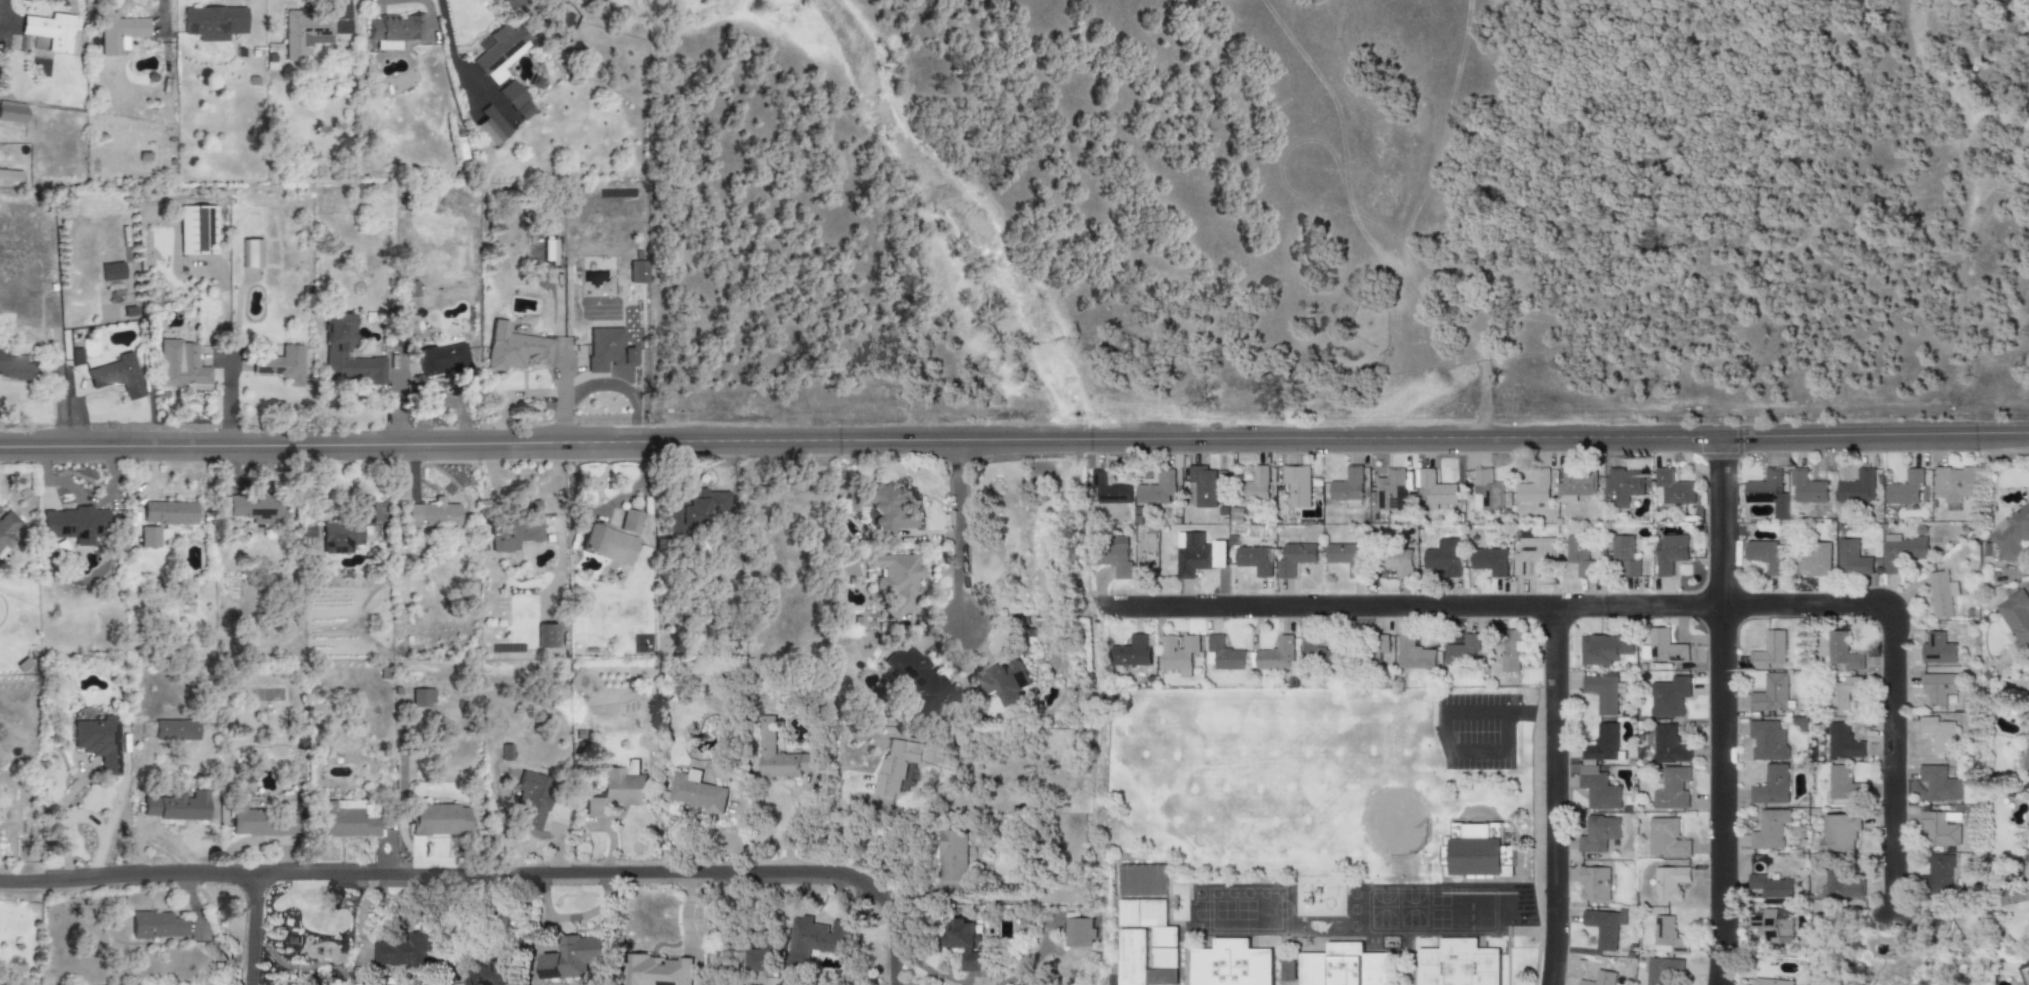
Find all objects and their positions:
building: (213, 23)
building: (49, 32)
building: (118, 32)
building: (392, 32)
building: (304, 33)
road: (450, 49)
building: (500, 53)
building: (514, 100)
building: (12, 112)
building: (490, 126)
building: (10, 176)
building: (196, 230)
building: (251, 254)
building: (111, 272)
building: (637, 272)
building: (607, 350)
building: (334, 352)
building: (516, 352)
building: (75, 357)
road: (230, 357)
building: (441, 360)
building: (279, 362)
building: (179, 365)
building: (14, 367)
building: (117, 376)
road: (564, 393)
road: (1014, 441)
building: (1954, 484)
building: (1255, 485)
building: (1297, 485)
building: (1575, 485)
building: (1200, 487)
building: (1348, 487)
building: (1622, 487)
building: (1764, 487)
building: (1533, 488)
building: (1807, 488)
building: (1856, 488)
building: (1109, 489)
building: (1434, 489)
building: (1672, 489)
building: (1904, 489)
building: (1156, 490)
building: (1389, 491)
building: (1486, 491)
building: (254, 508)
building: (882, 508)
road: (599, 509)
building: (168, 512)
building: (431, 514)
building: (530, 520)
building: (629, 521)
building: (74, 524)
building: (351, 527)
building: (8, 529)
building: (500, 535)
building: (2011, 535)
road: (957, 536)
building: (147, 537)
building: (607, 544)
building: (1901, 552)
building: (1670, 553)
building: (1197, 554)
building: (1578, 555)
building: (1533, 556)
building: (1624, 556)
building: (1766, 556)
building: (1443, 557)
building: (1112, 558)
building: (1295, 558)
building: (1346, 558)
building: (1813, 559)
building: (1851, 559)
building: (1254, 560)
building: (1489, 561)
building: (1397, 562)
building: (895, 581)
building: (1941, 595)
road: (1638, 608)
building: (2014, 620)
building: (545, 636)
building: (1604, 648)
building: (1663, 648)
building: (1378, 649)
building: (1512, 649)
building: (1938, 649)
building: (1465, 651)
building: (1769, 651)
building: (1316, 652)
building: (1842, 652)
building: (1130, 653)
building: (1178, 654)
building: (1222, 654)
building: (1412, 654)
building: (1276, 655)
building: (914, 677)
building: (1005, 682)
building: (1938, 687)
building: (1601, 693)
building: (1770, 694)
building: (1843, 694)
building: (1669, 697)
building: (421, 698)
road: (1721, 711)
road: (1492, 712)
building: (175, 730)
building: (1938, 734)
building: (98, 741)
building: (1767, 741)
building: (1842, 742)
building: (1600, 745)
building: (1668, 745)
building: (505, 752)
road: (1473, 753)
building: (781, 755)
building: (895, 765)
building: (1838, 782)
building: (1938, 783)
building: (1771, 786)
building: (1670, 787)
building: (1598, 789)
building: (616, 791)
building: (697, 792)
road: (1551, 796)
building: (531, 798)
building: (175, 806)
building: (346, 819)
building: (437, 819)
building: (258, 822)
road: (843, 822)
road: (58, 823)
road: (96, 830)
building: (1769, 830)
building: (1938, 830)
building: (1839, 832)
building: (1598, 834)
building: (1666, 839)
building: (1477, 853)
building: (952, 857)
road: (560, 873)
road: (127, 874)
building: (1936, 876)
building: (1140, 881)
building: (1669, 883)
building: (1594, 884)
building: (1844, 885)
building: (1769, 886)
road: (541, 895)
road: (588, 911)
building: (1139, 914)
building: (156, 925)
building: (1769, 925)
building: (1603, 928)
building: (1078, 933)
building: (1666, 936)
building: (817, 938)
building: (965, 946)
road: (534, 949)
building: (1162, 949)
building: (403, 953)
building: (572, 957)
building: (1128, 958)
building: (759, 959)
building: (1230, 964)
building: (1456, 964)
building: (1342, 966)
building: (658, 970)
building: (1661, 970)
building: (2024, 973)
building: (491, 974)
building: (1160, 978)
building: (1600, 979)
building: (1770, 982)
road: (894, 984)

